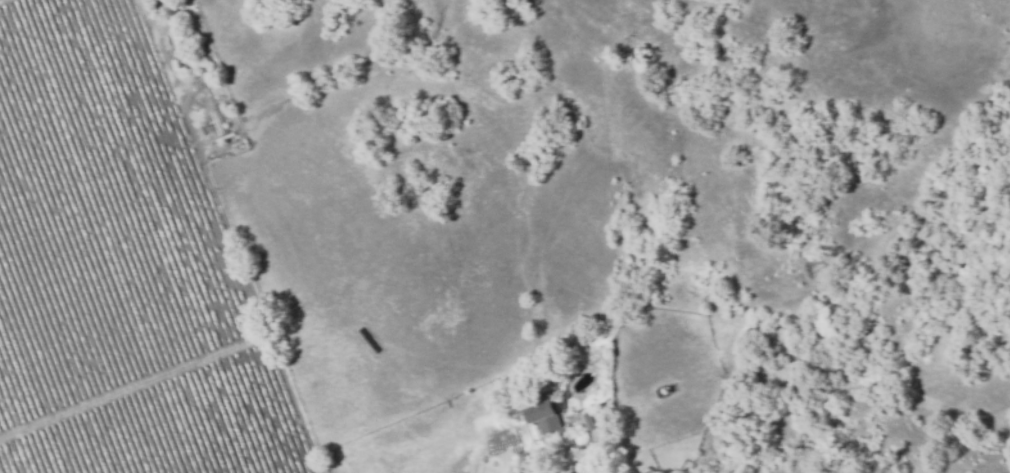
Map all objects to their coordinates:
building: (552, 372)
building: (663, 392)
building: (542, 415)
building: (588, 419)
building: (327, 457)

